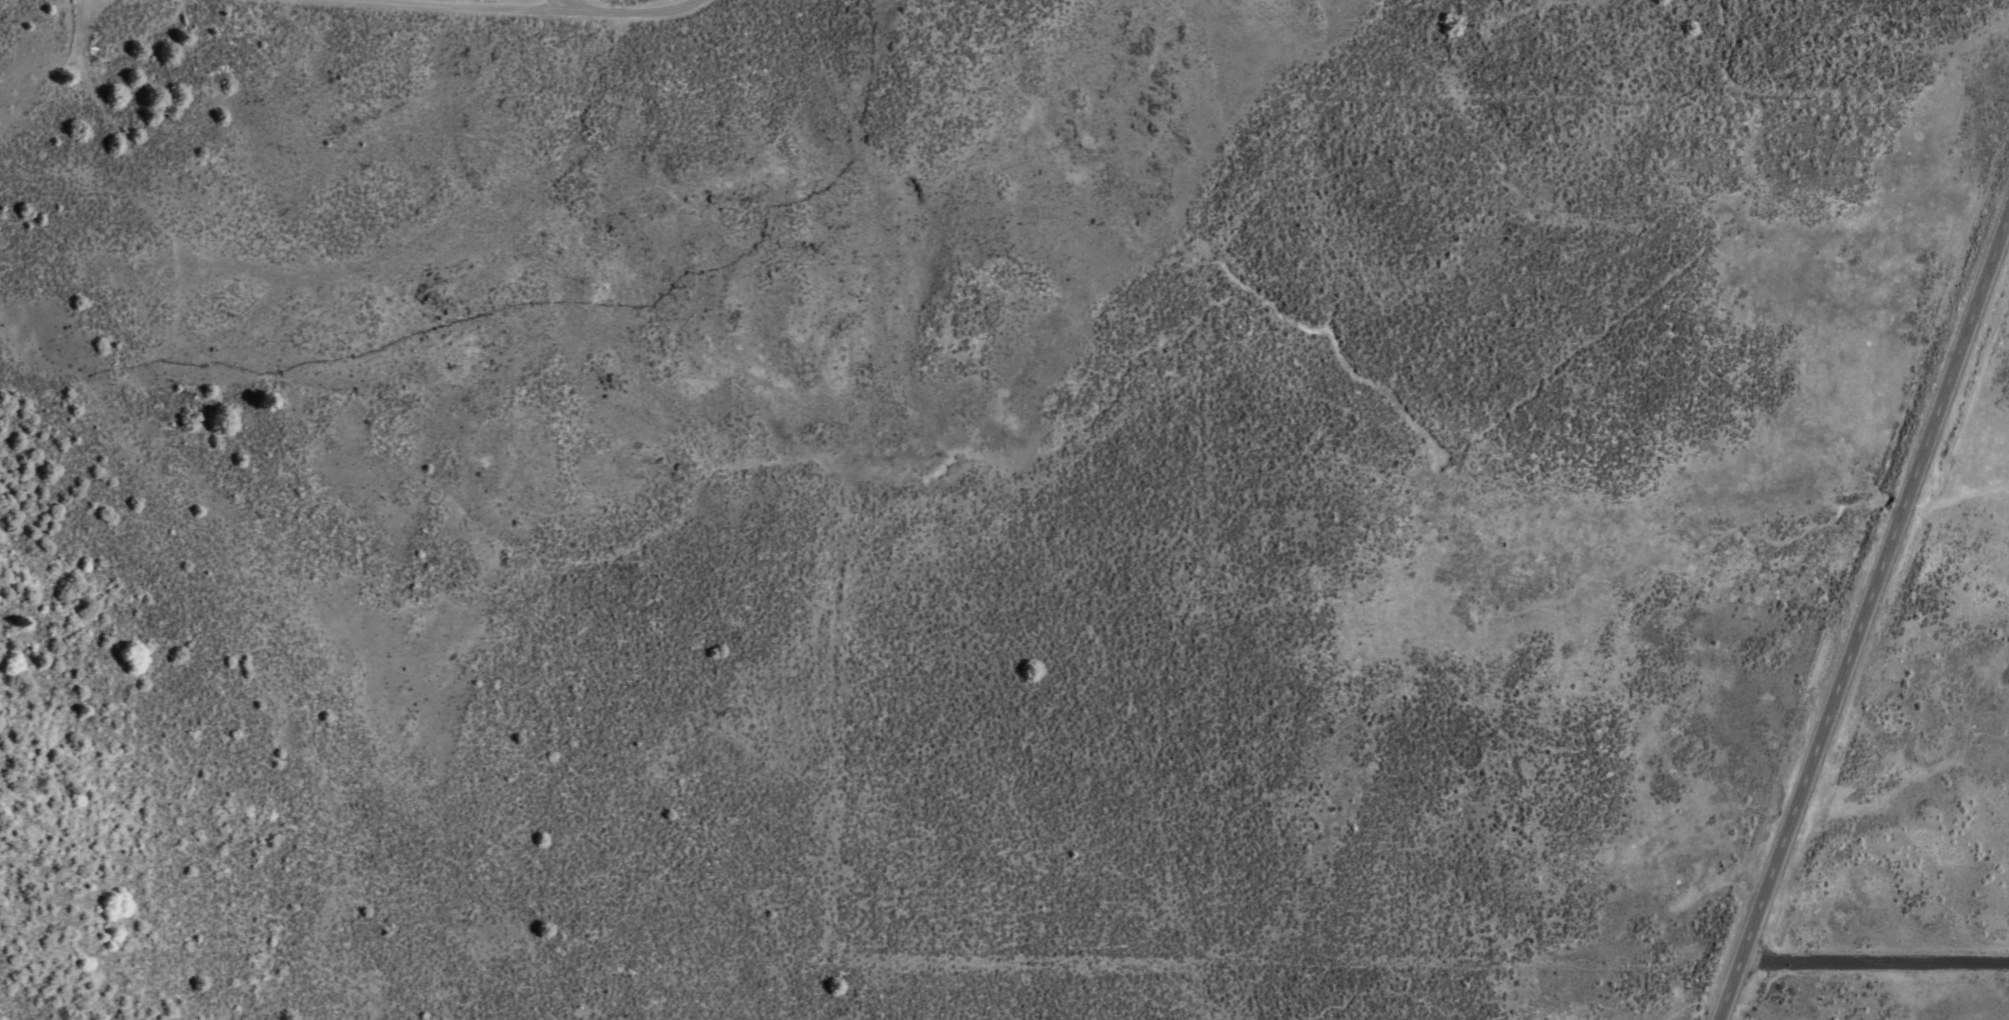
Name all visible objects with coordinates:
crop: (114, 55)
road: (1868, 624)
crop: (1792, 670)
road: (1863, 962)

